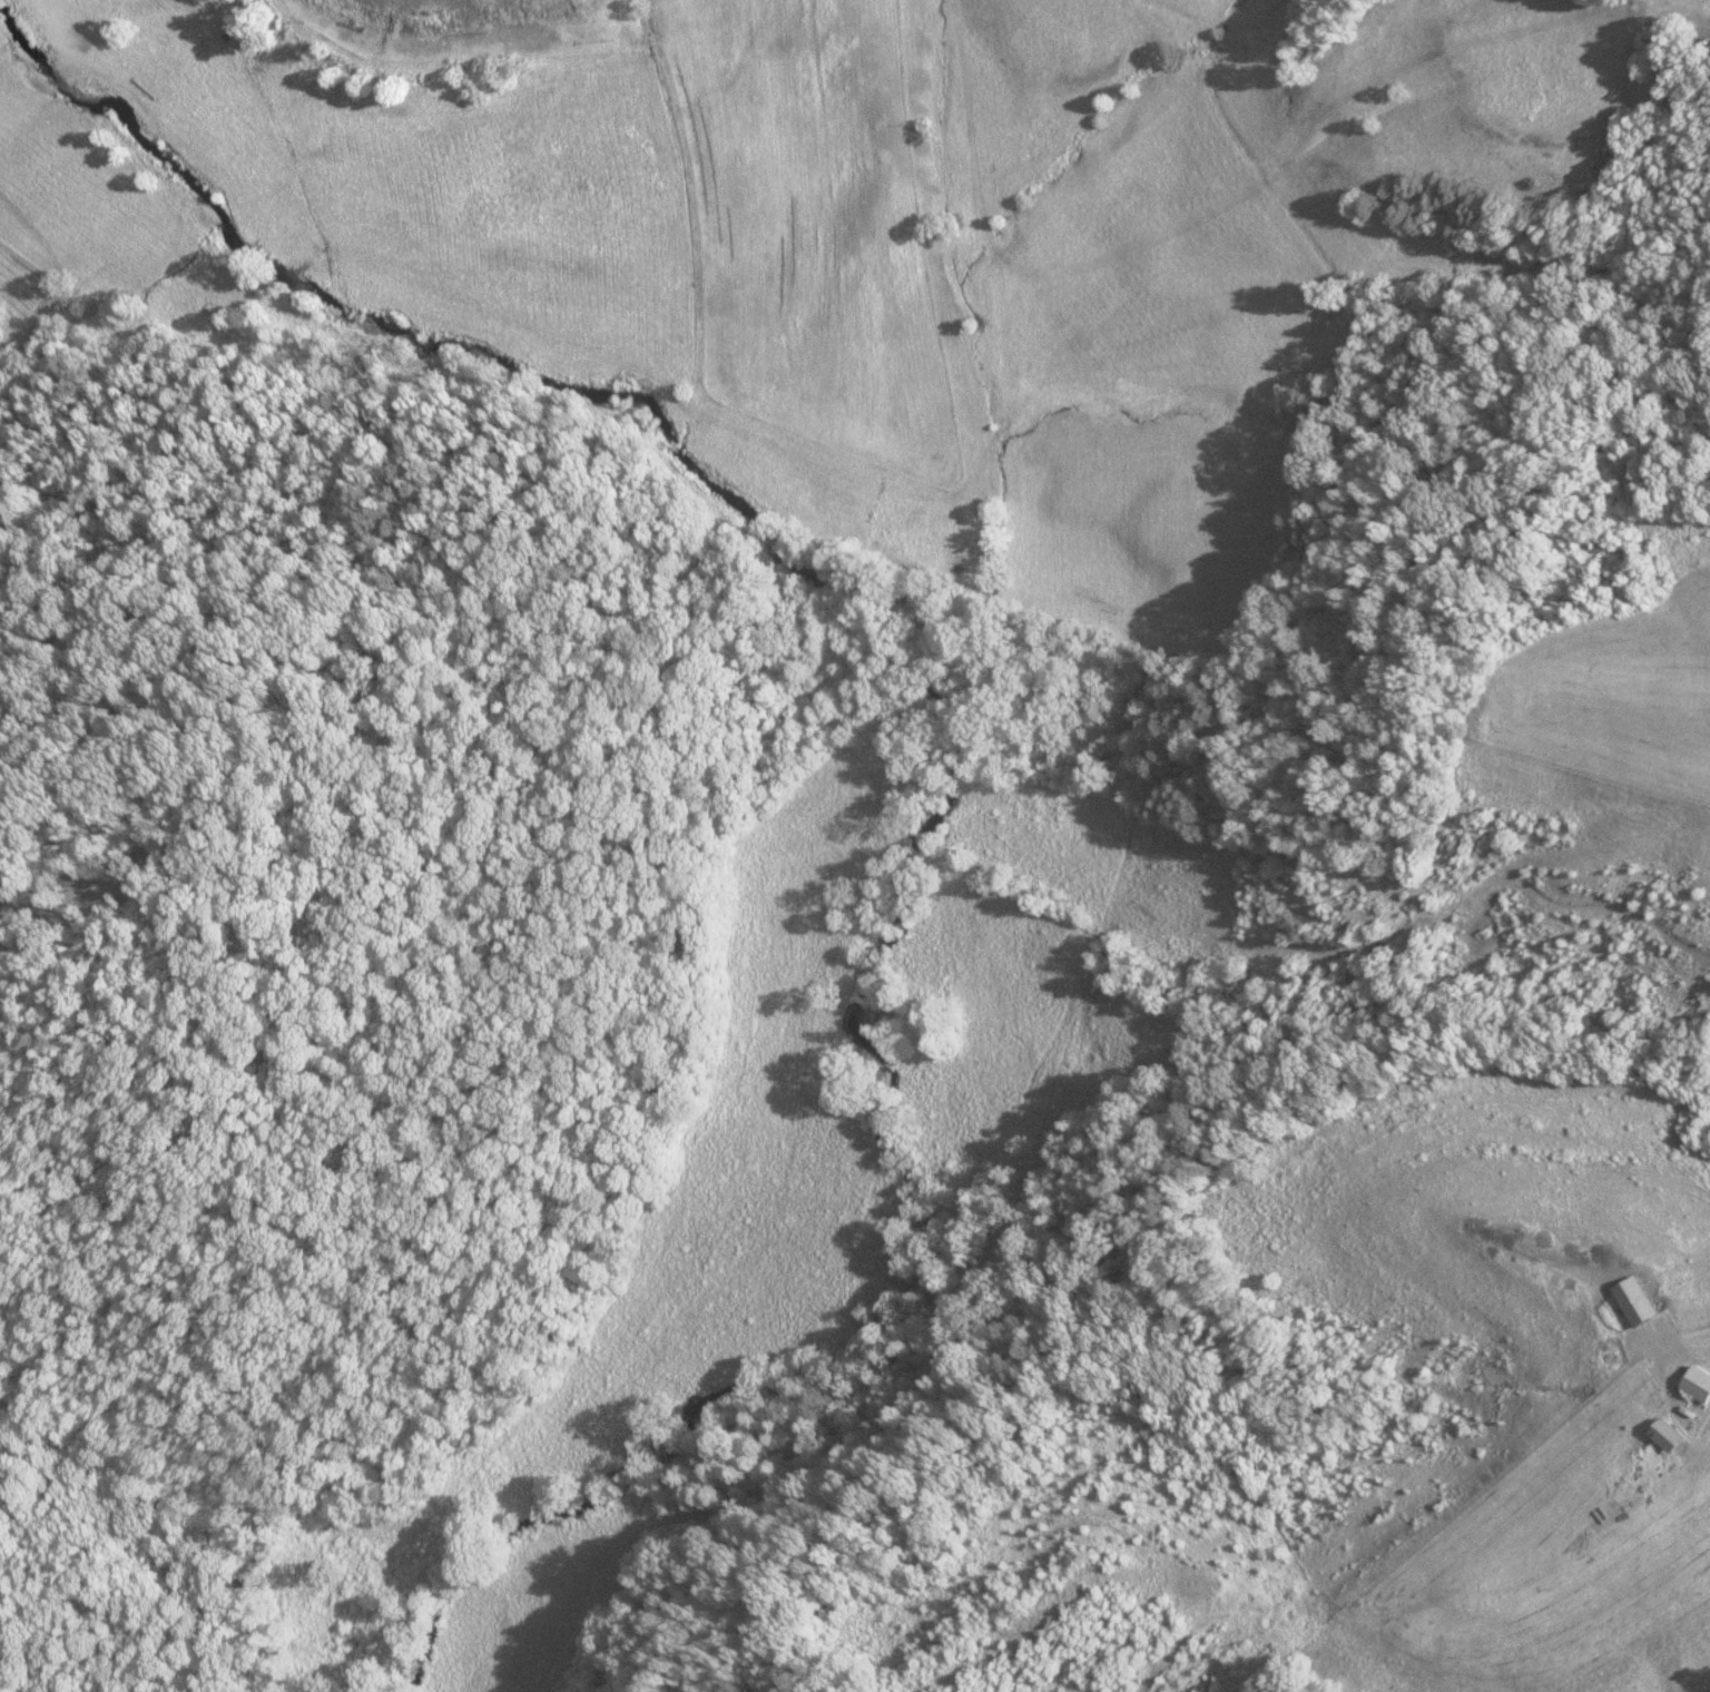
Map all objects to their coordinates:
building: (1631, 1302)
building: (1696, 1384)
building: (1663, 1436)

